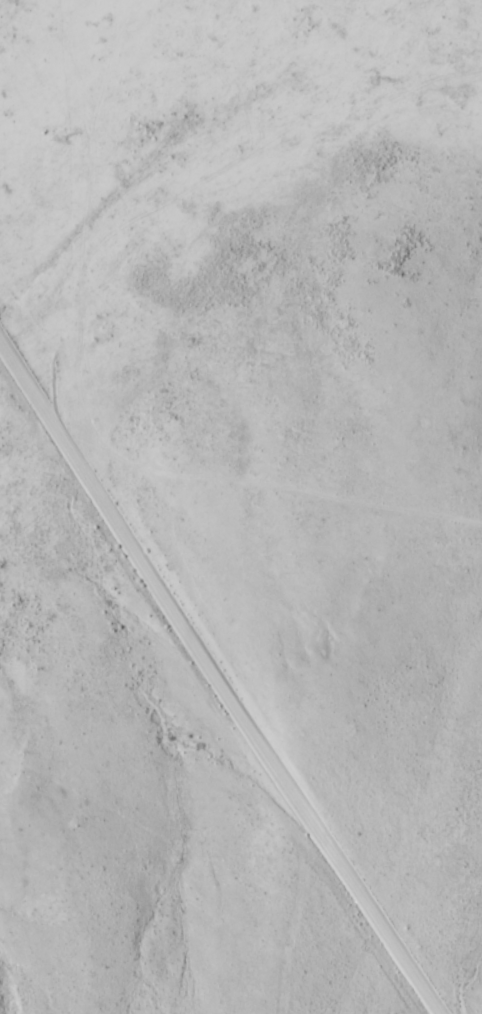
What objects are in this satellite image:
road: (213, 682)

